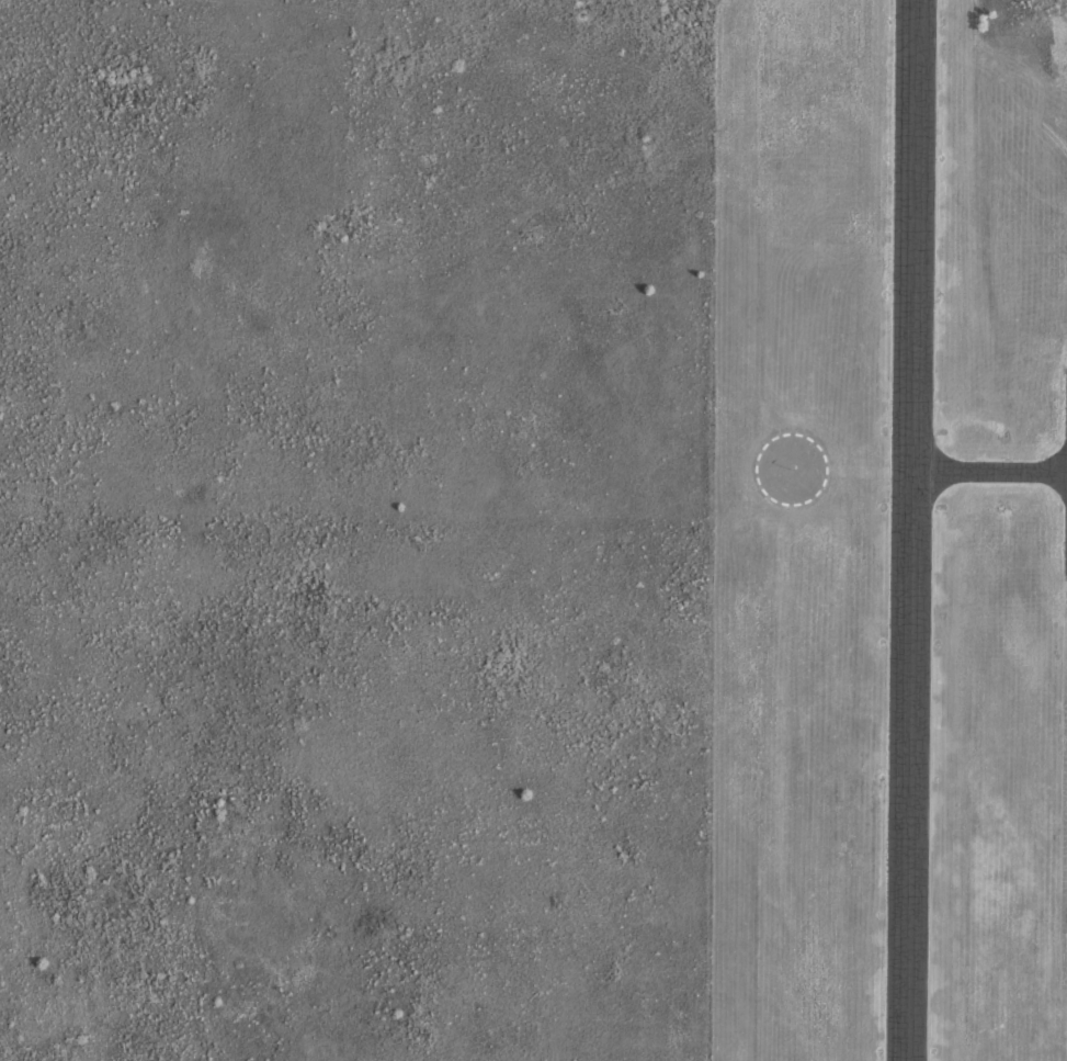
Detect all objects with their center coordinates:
airport taxiway: (924, 459)
airport taxiway: (1007, 471)
airport apron: (1065, 481)
airport taxiway: (922, 484)
airport runway: (910, 530)
airport: (889, 531)

